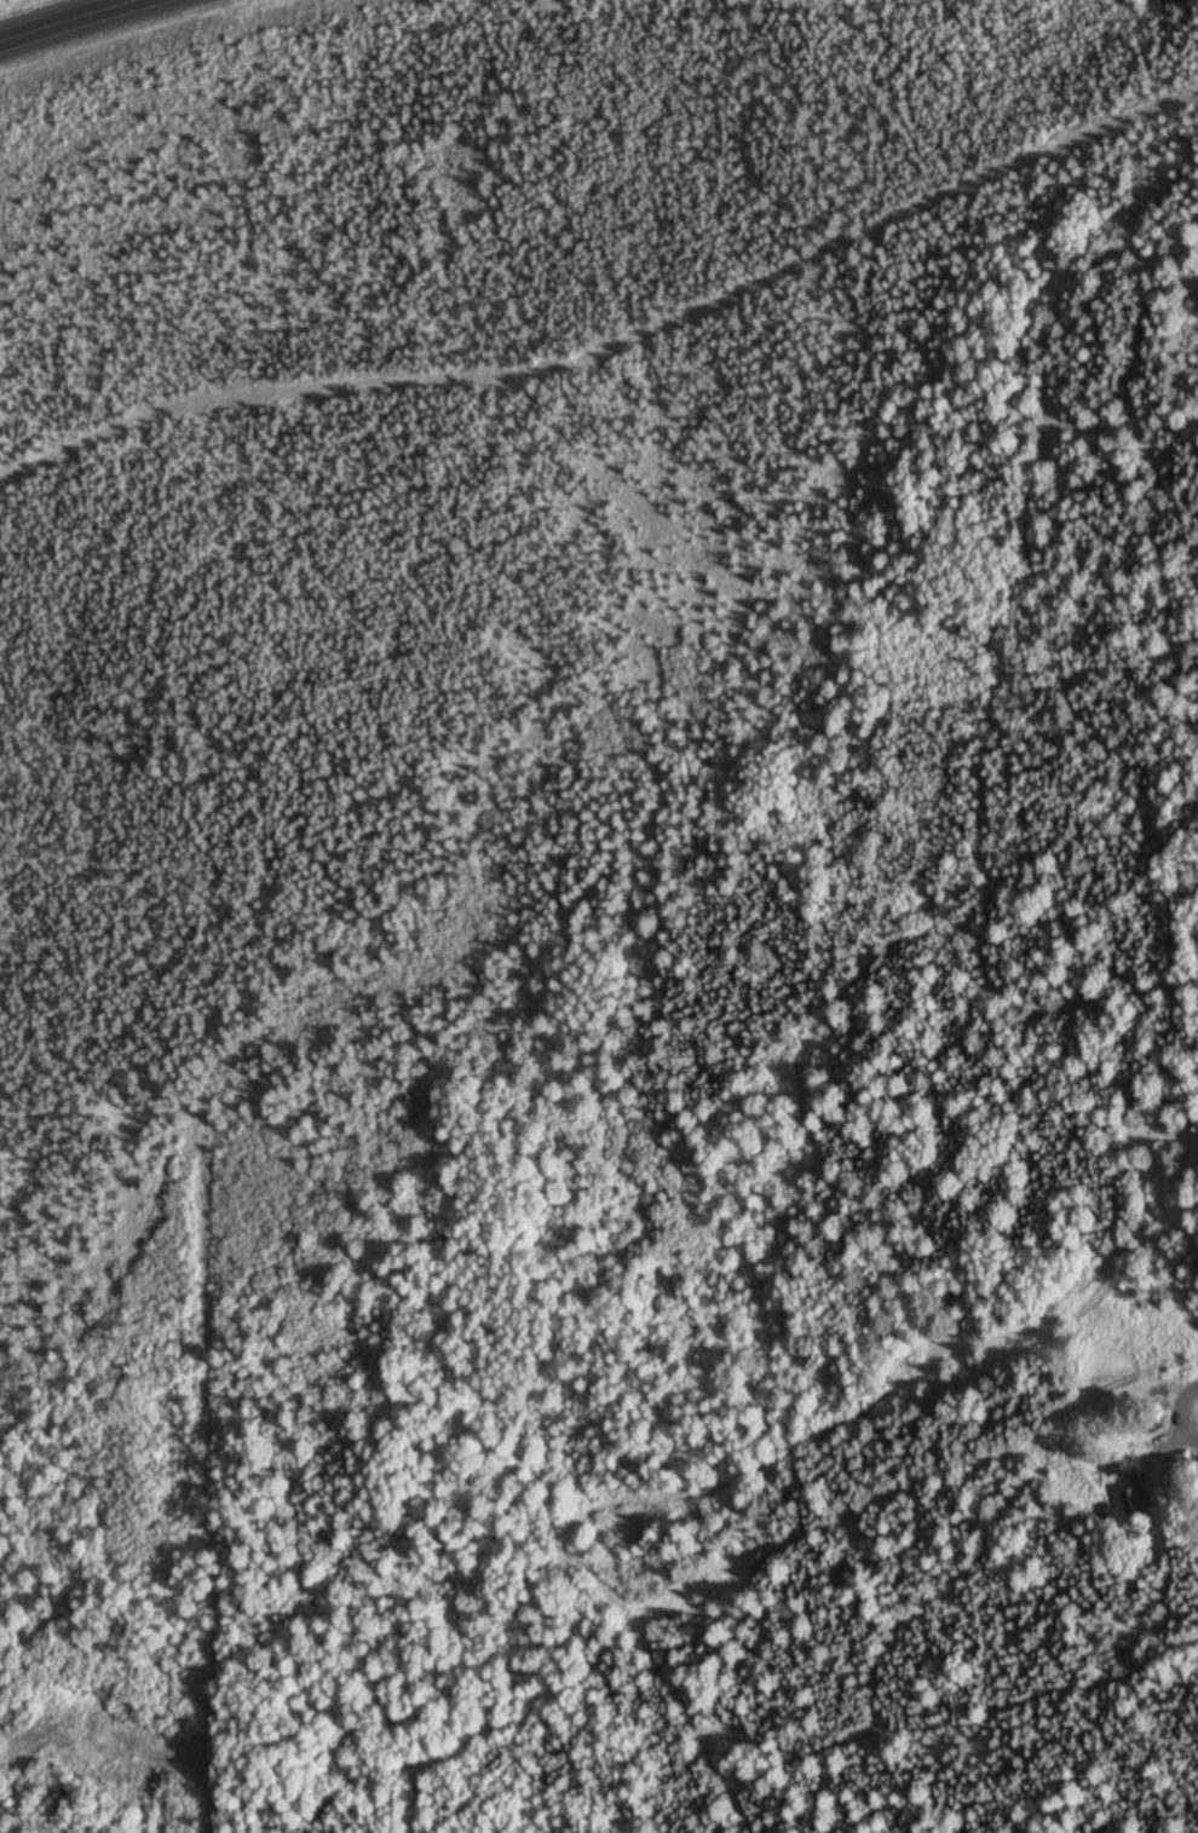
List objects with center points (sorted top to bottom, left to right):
road: (69, 21)
building: (1128, 1503)

